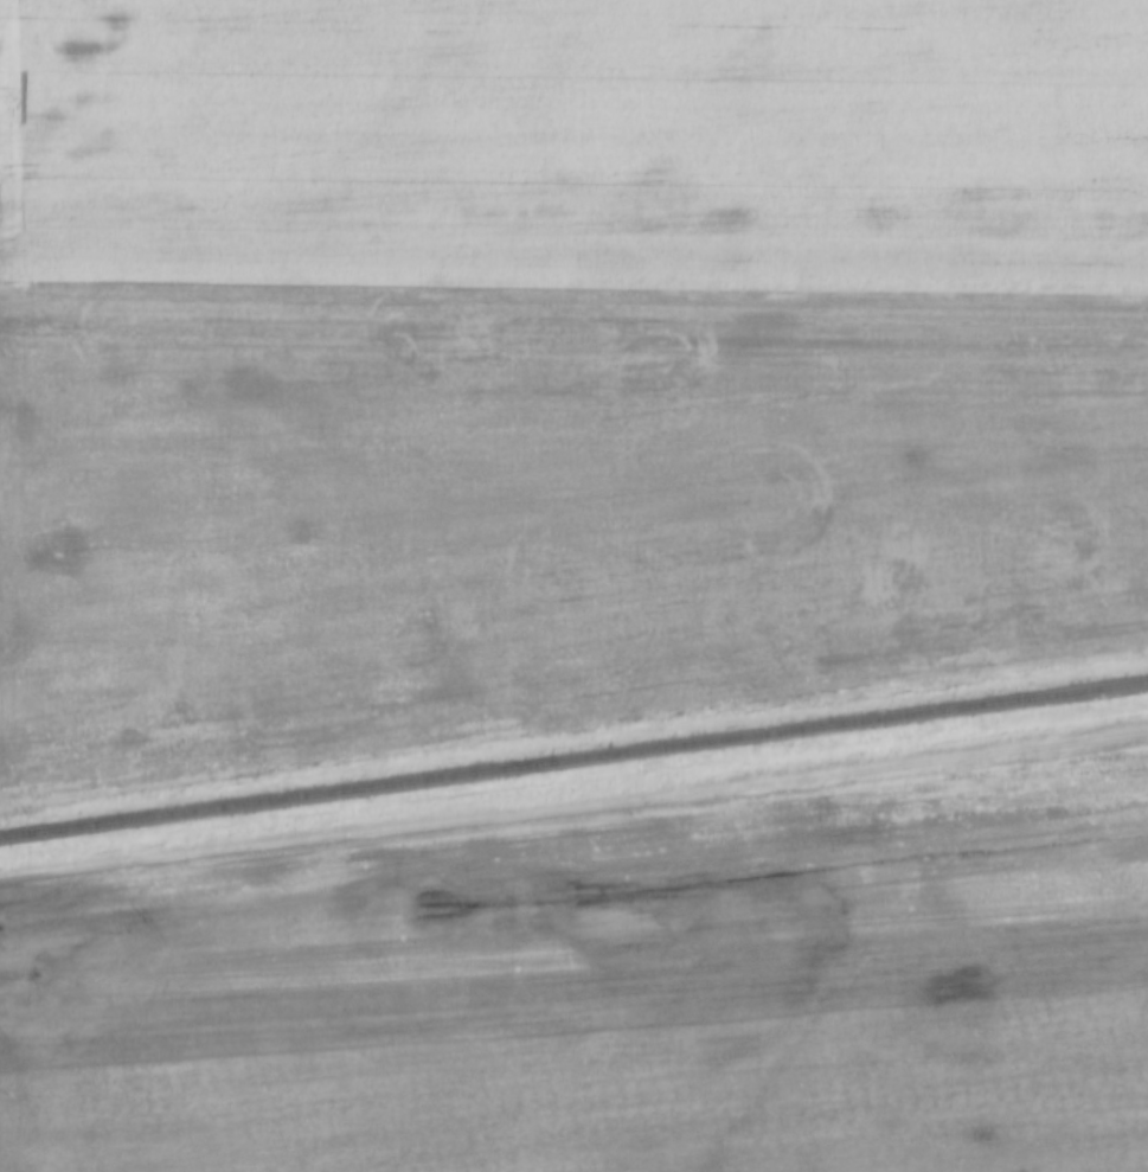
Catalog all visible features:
railway: (573, 761)
road: (573, 816)

